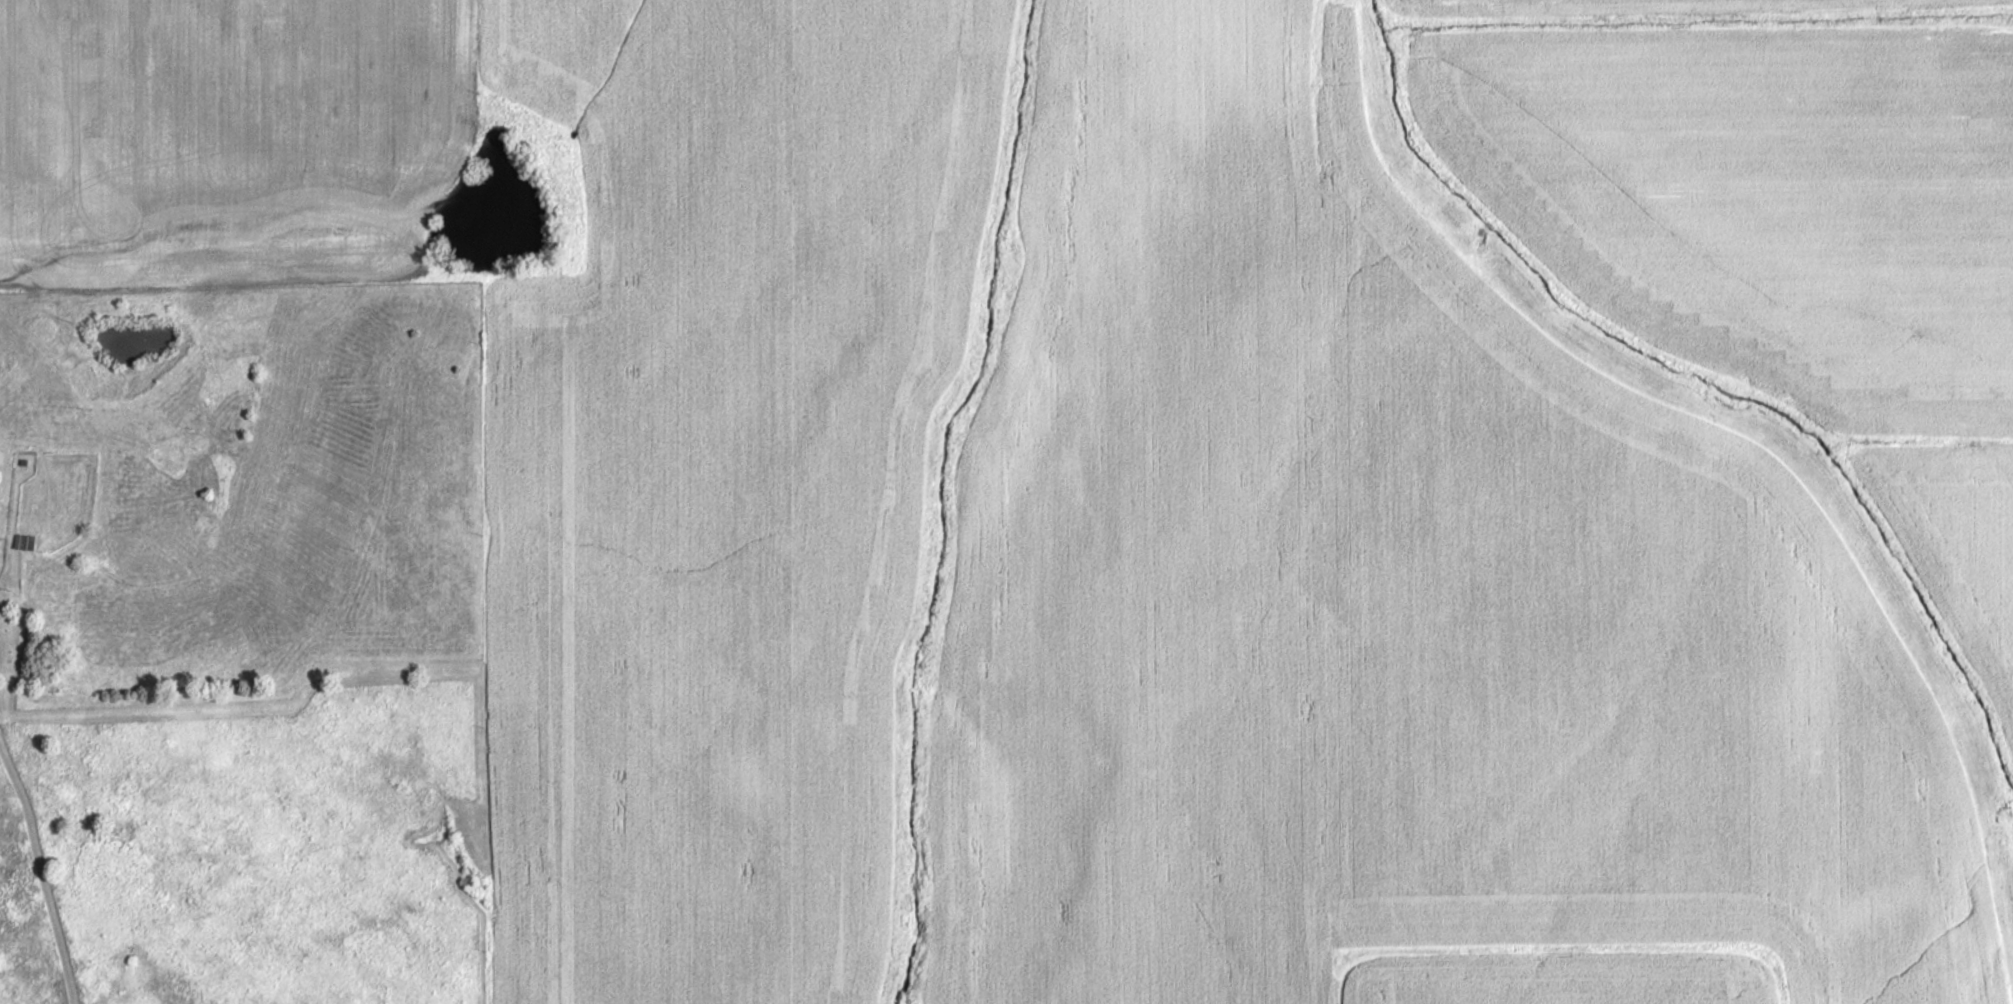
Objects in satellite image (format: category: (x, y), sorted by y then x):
building: (23, 542)

